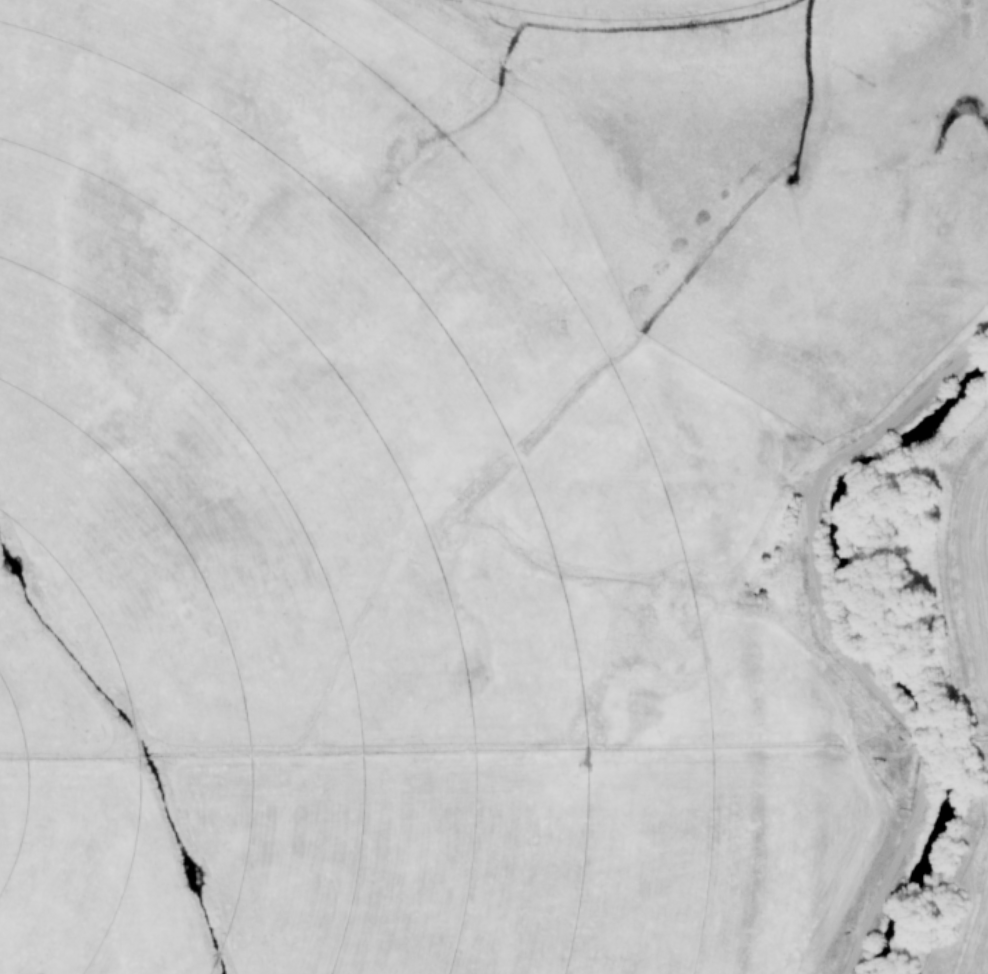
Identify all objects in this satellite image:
road: (836, 637)
river: (884, 661)

